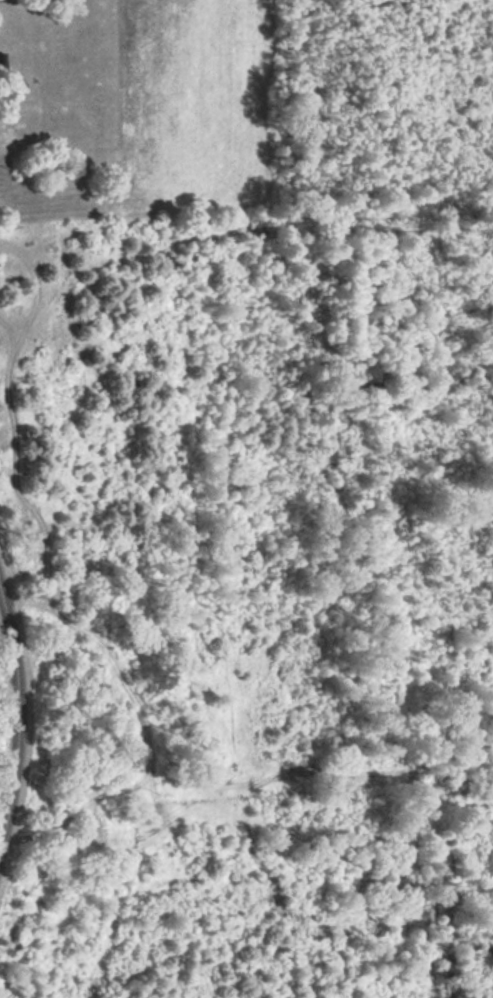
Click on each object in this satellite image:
building: (2, 61)
road: (14, 706)

